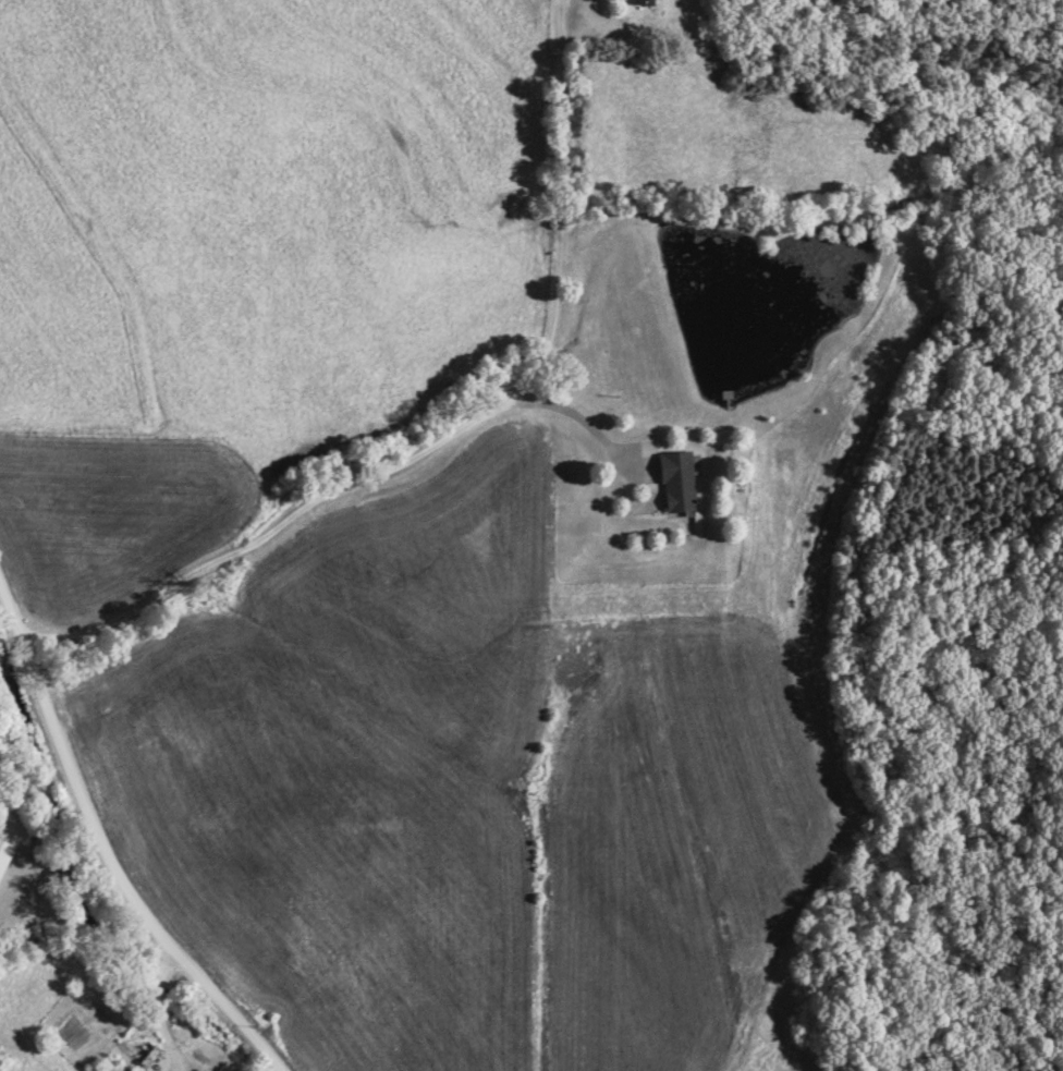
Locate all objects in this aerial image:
building: (640, 2)
road: (572, 415)
road: (450, 434)
building: (676, 484)
road: (105, 848)
building: (4, 856)
road: (163, 1012)
building: (148, 1057)

